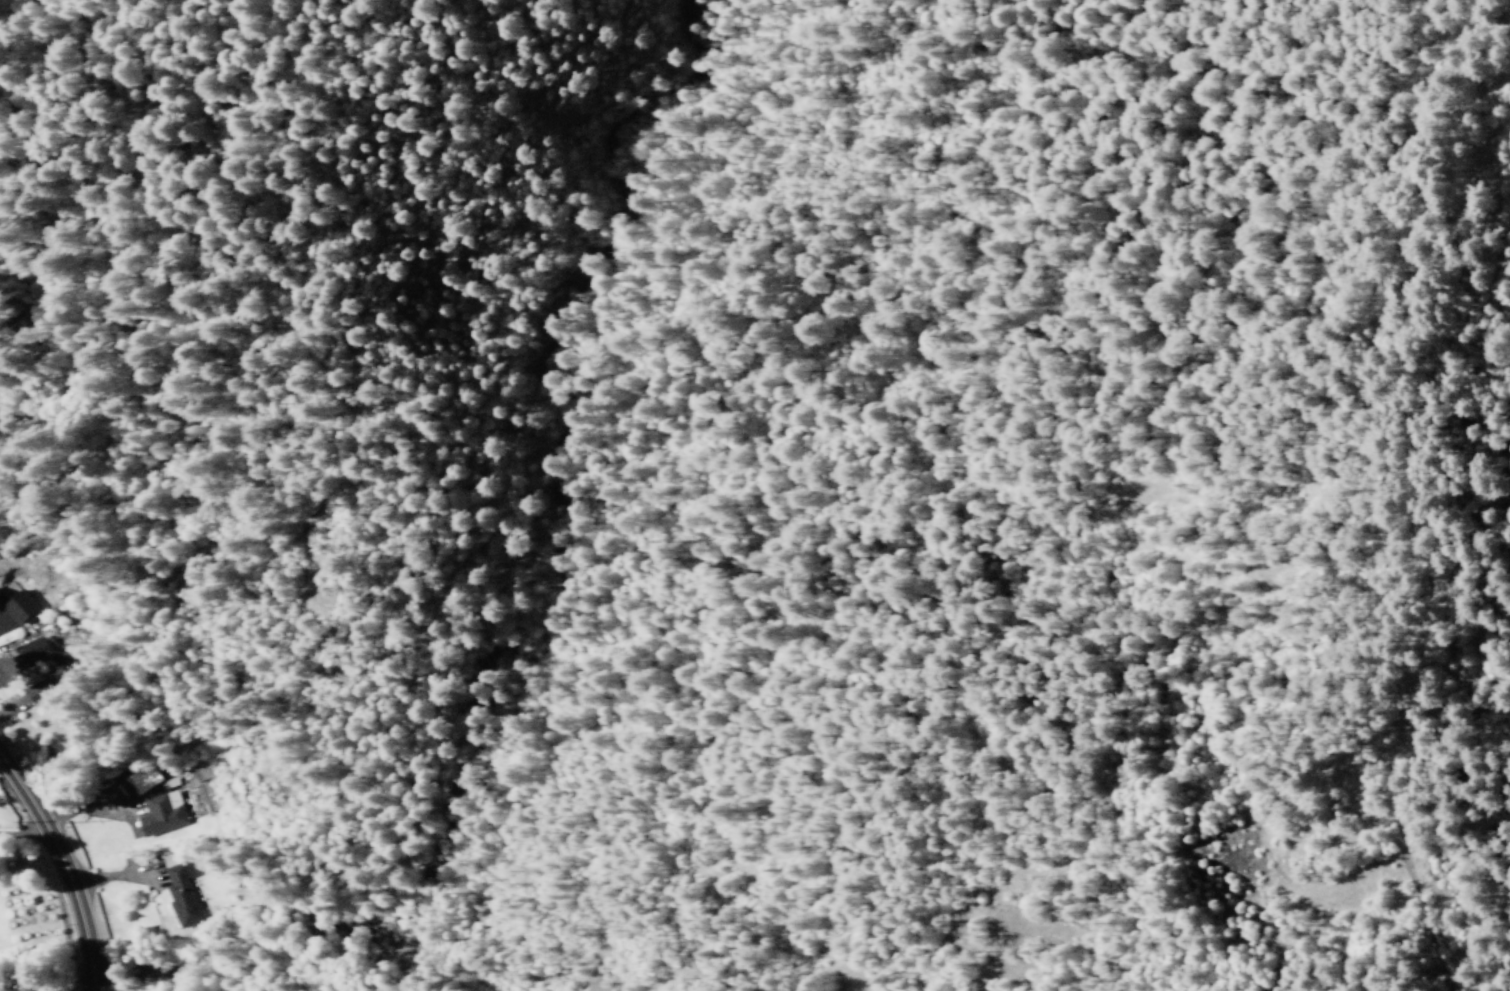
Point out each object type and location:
road: (1495, 58)
road: (1416, 604)
building: (18, 606)
building: (38, 690)
road: (25, 700)
building: (143, 778)
building: (167, 782)
building: (161, 812)
road: (68, 813)
road: (65, 865)
road: (115, 874)
building: (181, 894)

